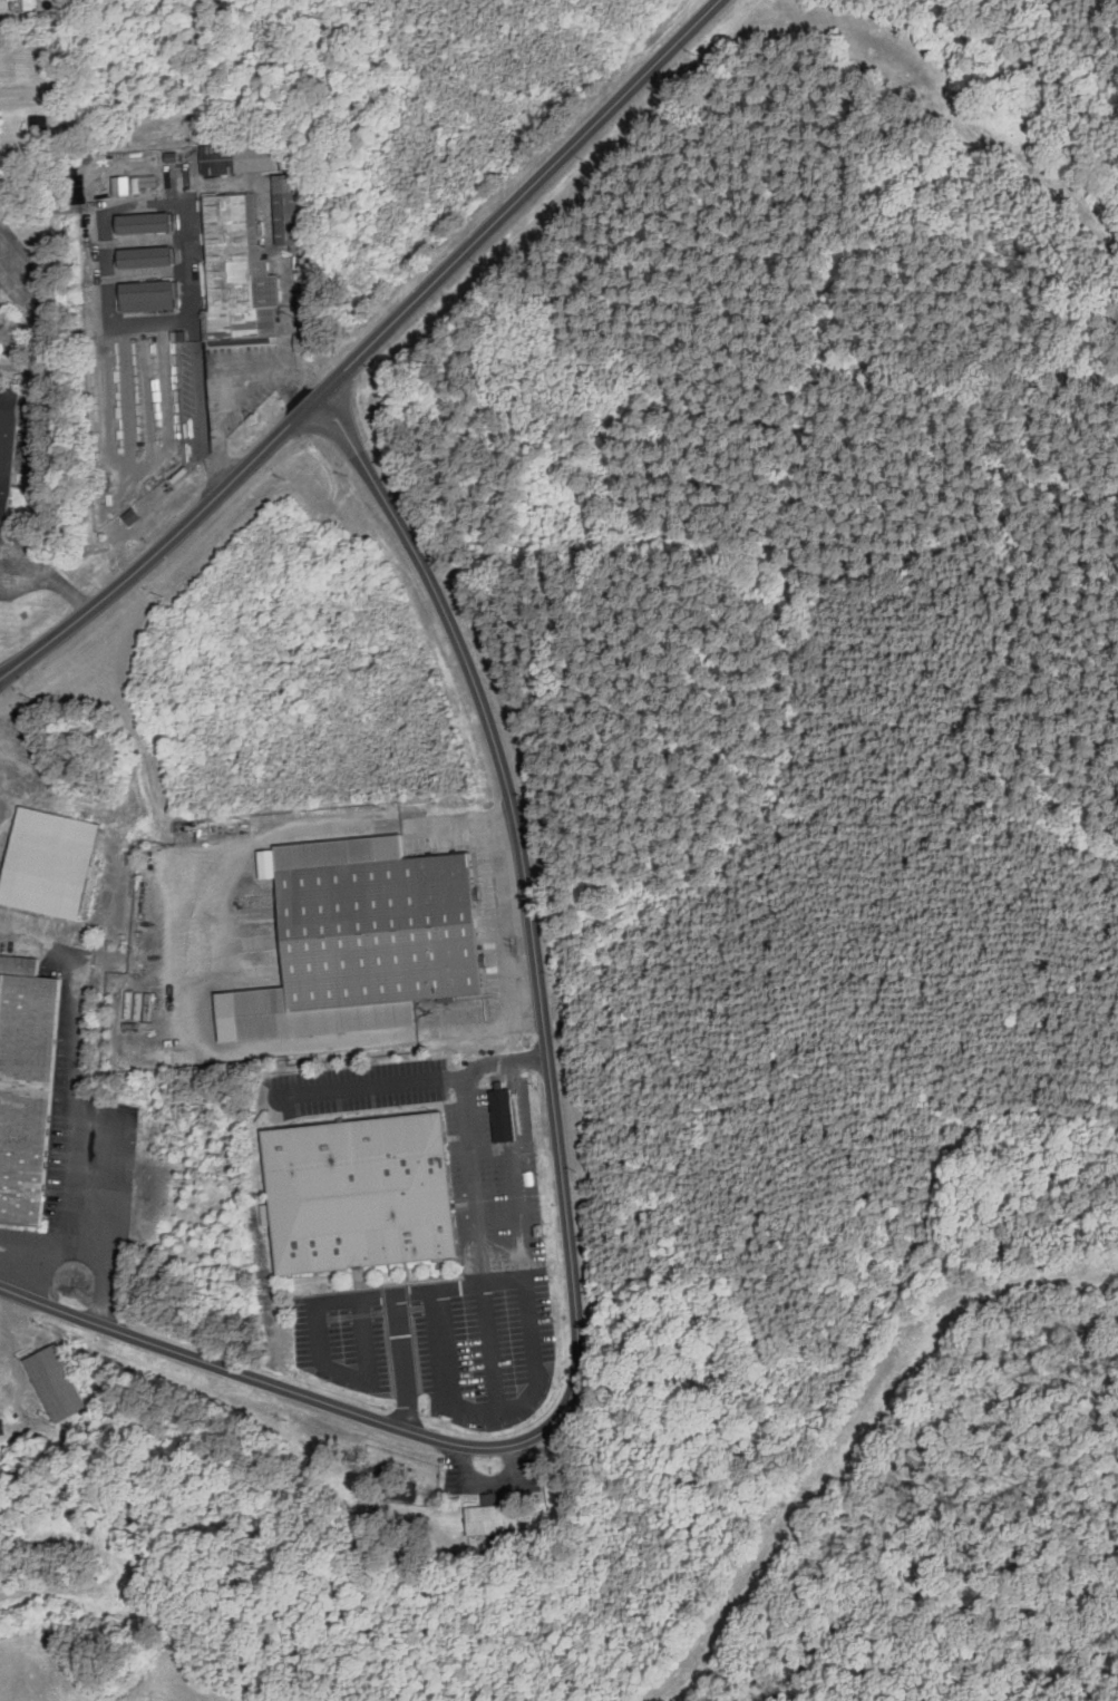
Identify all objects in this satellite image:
building: (226, 2)
building: (28, 3)
building: (26, 23)
road: (62, 75)
building: (42, 127)
building: (245, 157)
road: (517, 196)
building: (290, 211)
building: (149, 222)
building: (237, 227)
road: (276, 251)
building: (152, 256)
road: (110, 262)
building: (247, 284)
building: (154, 294)
road: (195, 295)
building: (244, 322)
building: (308, 342)
road: (225, 391)
building: (12, 406)
building: (10, 445)
building: (158, 495)
building: (8, 497)
building: (134, 516)
road: (165, 542)
road: (17, 545)
road: (19, 580)
road: (61, 583)
building: (54, 848)
building: (381, 915)
road: (216, 962)
building: (21, 966)
road: (78, 992)
building: (318, 1012)
road: (466, 1075)
road: (371, 1085)
building: (29, 1093)
building: (507, 1117)
road: (76, 1161)
building: (368, 1182)
road: (561, 1182)
road: (115, 1217)
road: (56, 1250)
road: (482, 1262)
road: (529, 1301)
road: (318, 1319)
road: (363, 1341)
road: (404, 1350)
road: (448, 1350)
road: (490, 1351)
building: (61, 1373)
road: (408, 1417)
building: (490, 1514)

